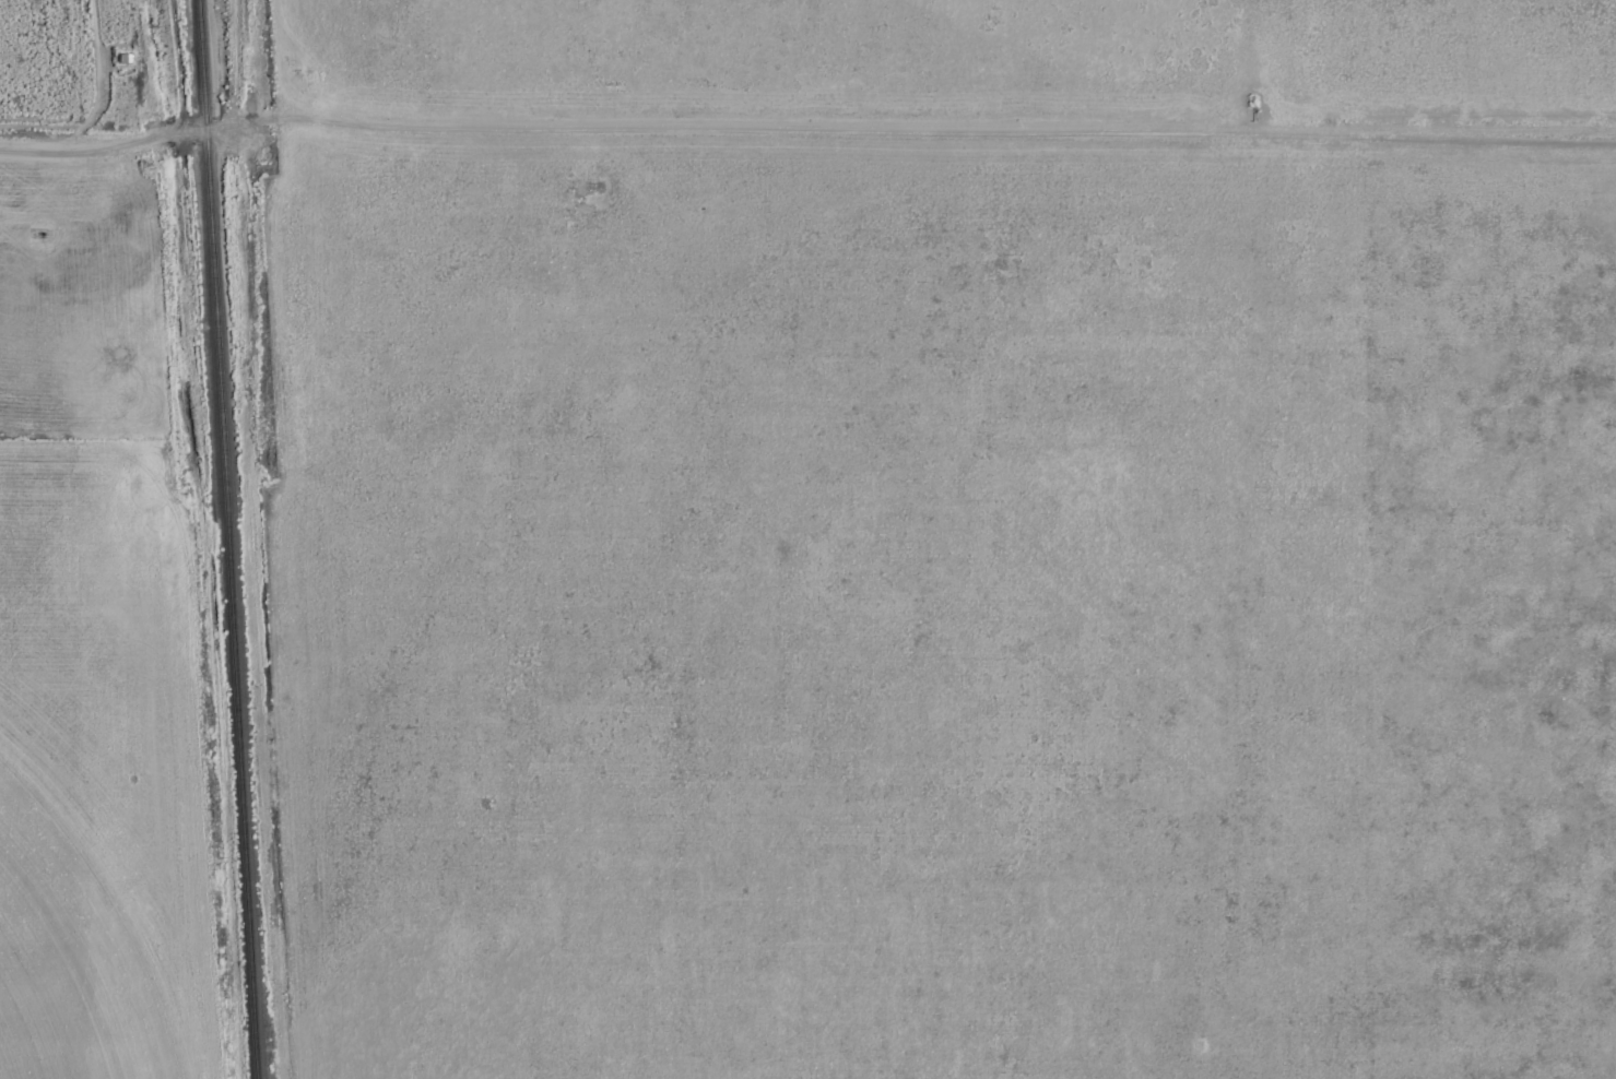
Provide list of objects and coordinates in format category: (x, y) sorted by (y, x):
road: (911, 130)
road: (105, 134)
railway: (231, 539)

